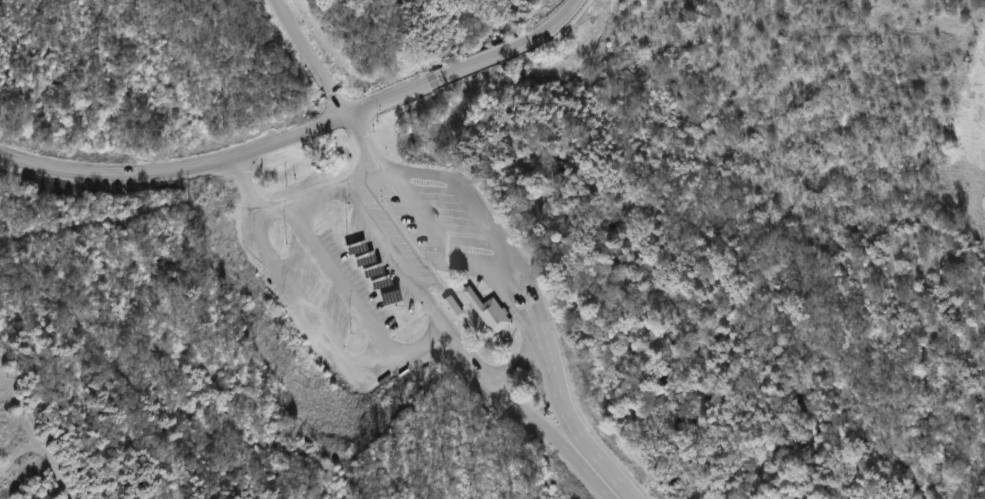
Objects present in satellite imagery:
road: (311, 58)
road: (467, 65)
road: (364, 142)
road: (176, 169)
road: (296, 204)
parking lot: (432, 236)
park: (492, 249)
road: (401, 256)
road: (344, 282)
road: (501, 286)
parking lot: (333, 302)
building: (452, 306)
building: (490, 310)
road: (326, 332)
road: (502, 396)
road: (599, 469)

